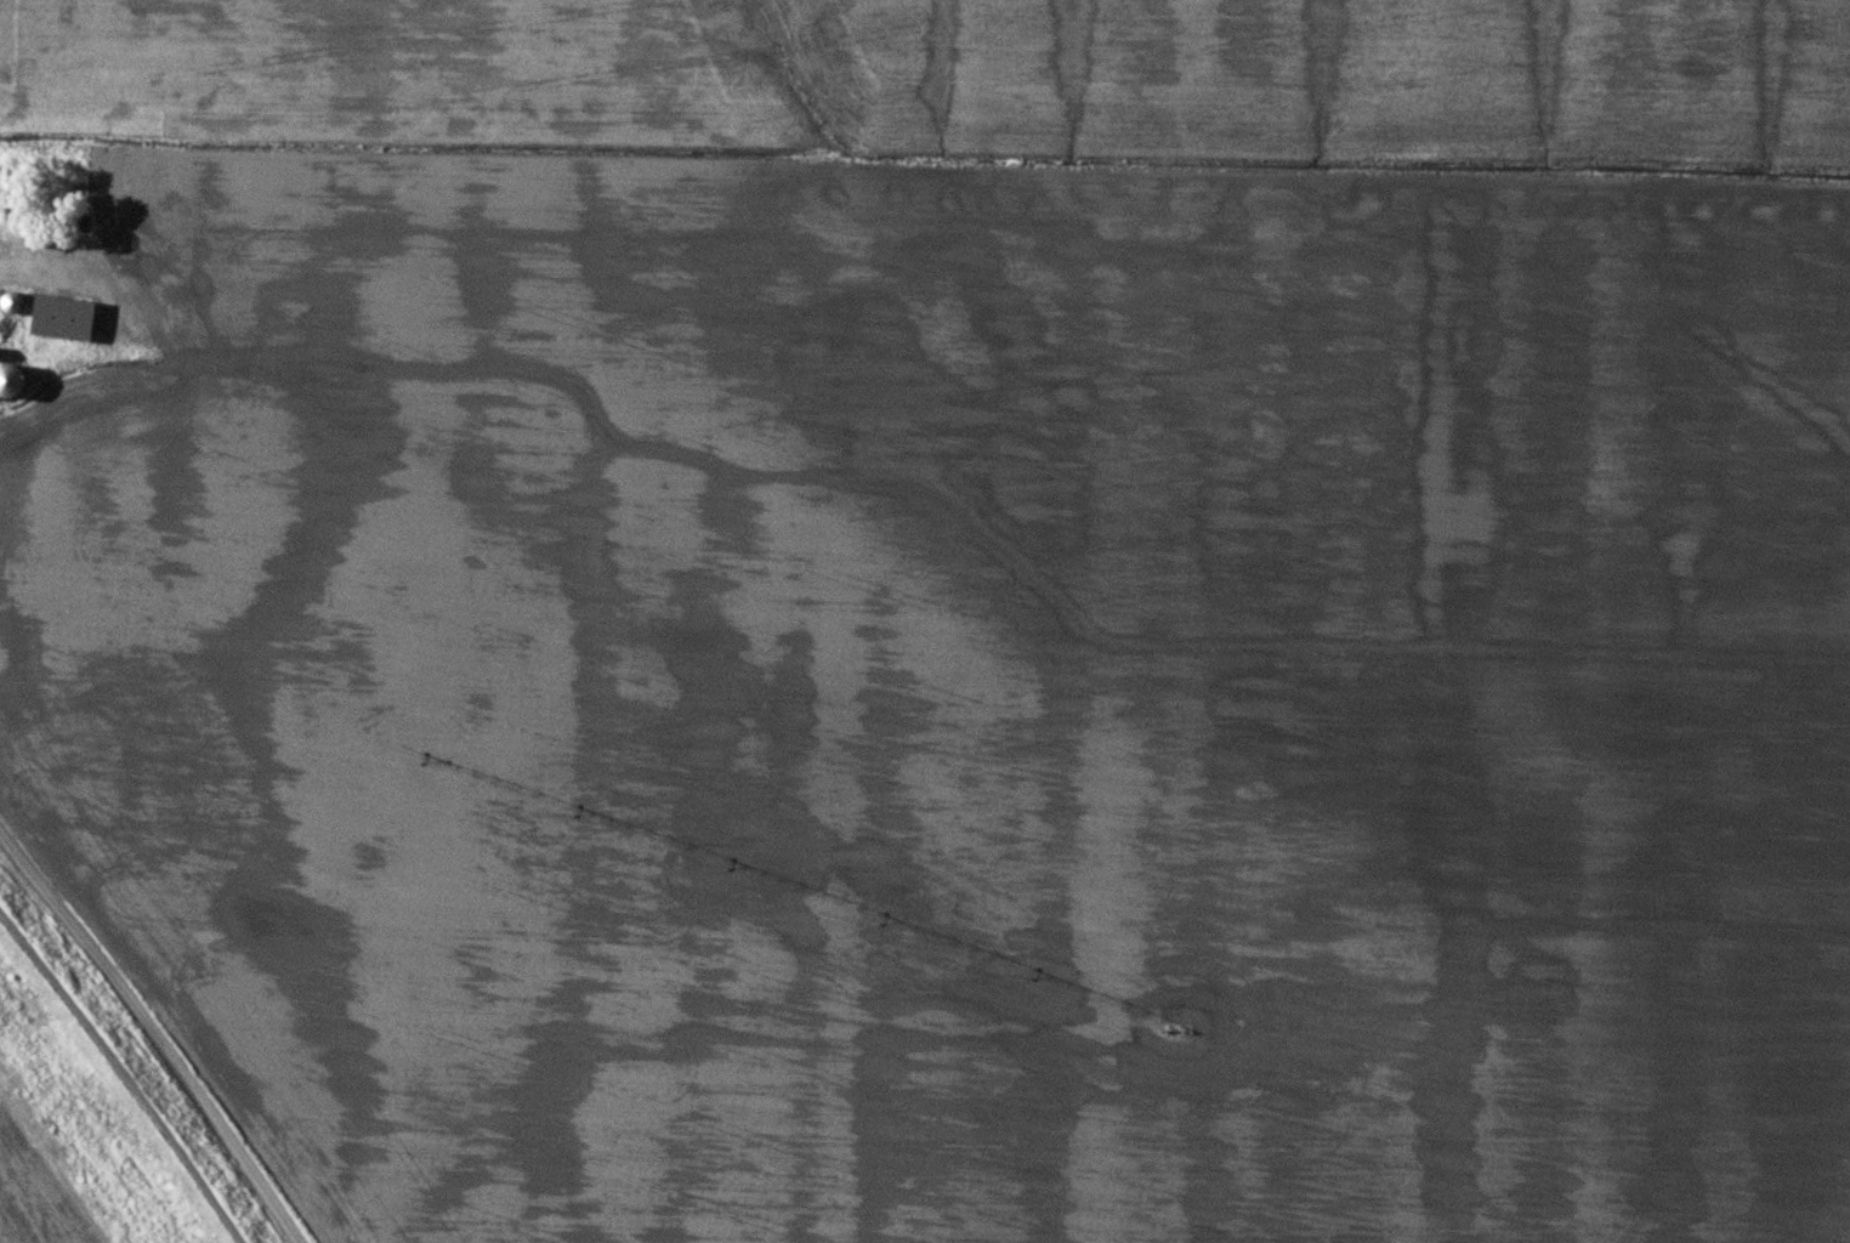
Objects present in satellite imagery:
road: (69, 269)
building: (16, 301)
building: (61, 318)
building: (13, 350)
building: (15, 380)
road: (151, 1034)
road: (124, 1074)

